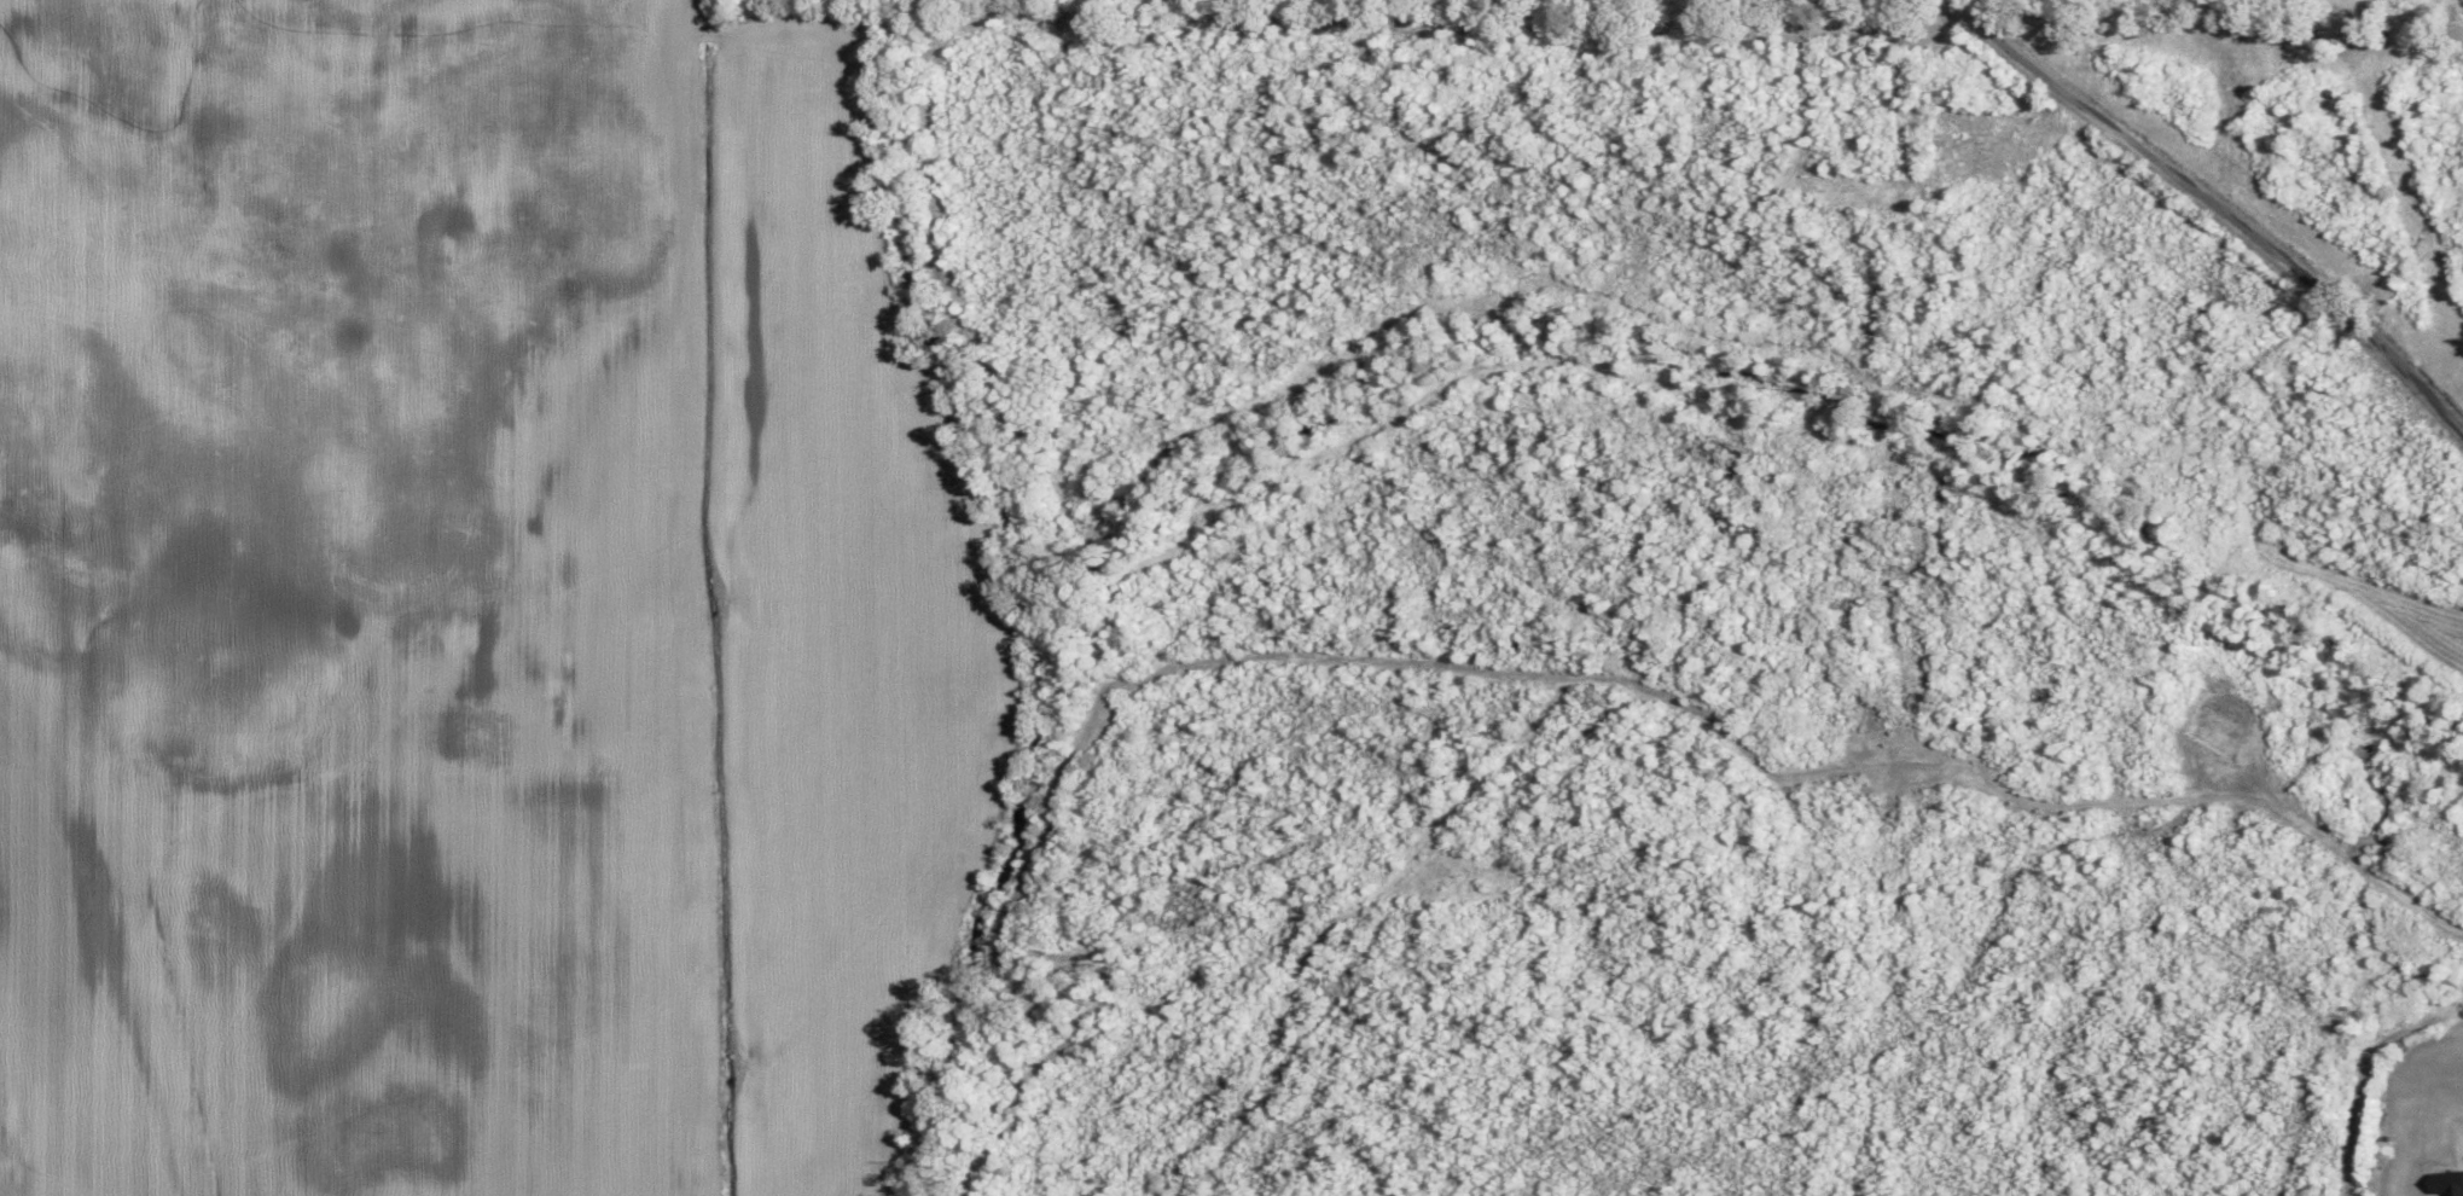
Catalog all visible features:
road: (2230, 215)

